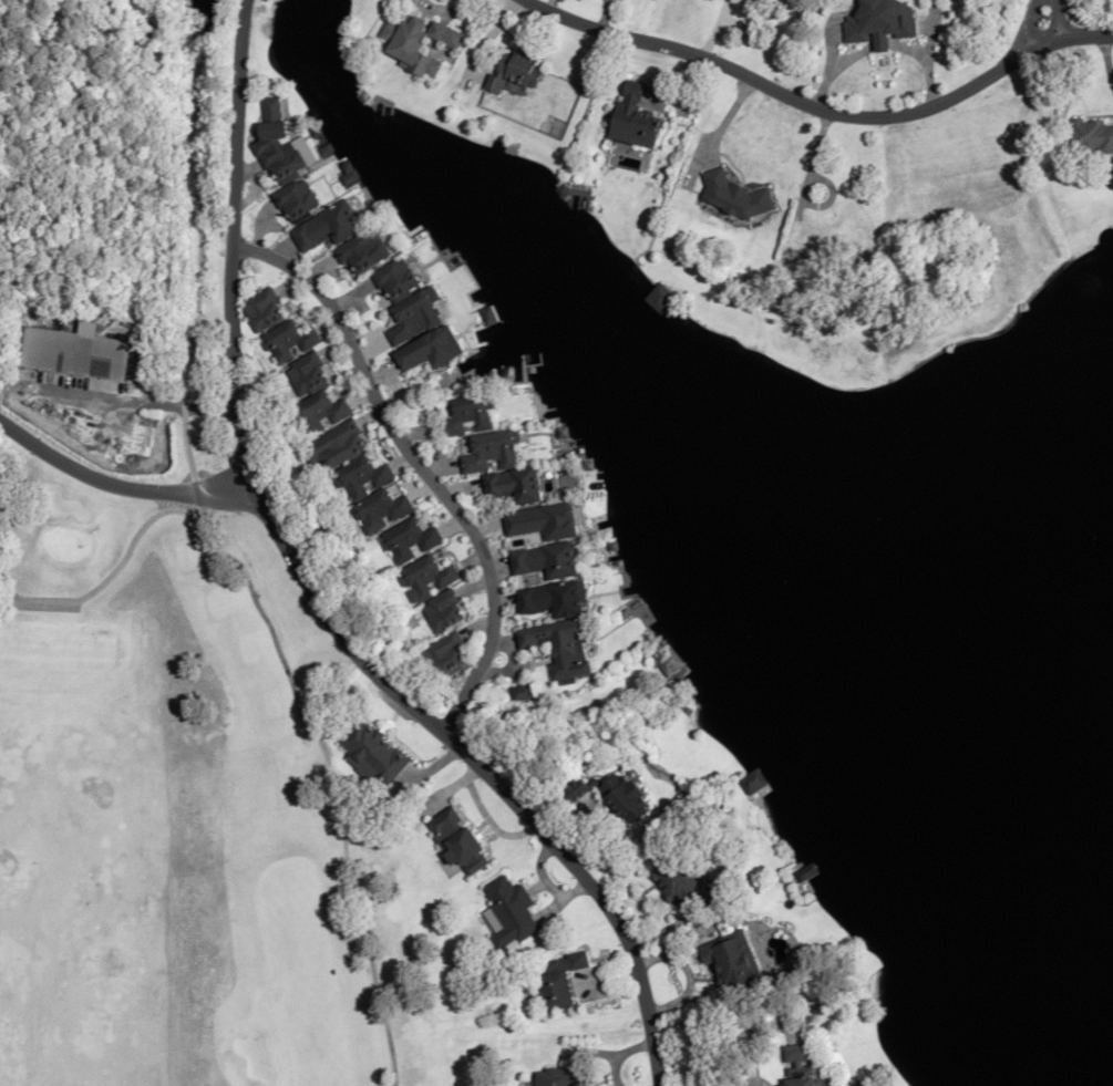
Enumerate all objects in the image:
building: (754, 0)
road: (1043, 19)
building: (879, 22)
building: (419, 43)
building: (515, 72)
road: (824, 104)
building: (633, 117)
road: (236, 122)
building: (1091, 138)
building: (277, 144)
building: (738, 197)
building: (295, 200)
building: (326, 227)
building: (836, 234)
building: (363, 250)
building: (660, 298)
building: (406, 301)
building: (261, 310)
building: (287, 341)
building: (429, 349)
building: (73, 351)
building: (303, 374)
building: (317, 413)
building: (467, 415)
building: (333, 445)
building: (489, 452)
road: (415, 462)
road: (120, 480)
building: (511, 485)
building: (405, 540)
building: (543, 560)
building: (423, 578)
building: (549, 599)
building: (440, 611)
building: (557, 647)
building: (441, 655)
building: (670, 665)
road: (392, 692)
building: (519, 692)
building: (753, 780)
building: (615, 795)
building: (457, 839)
building: (677, 872)
building: (806, 872)
building: (511, 911)
building: (734, 960)
building: (560, 980)
building: (798, 1065)
building: (560, 1076)

